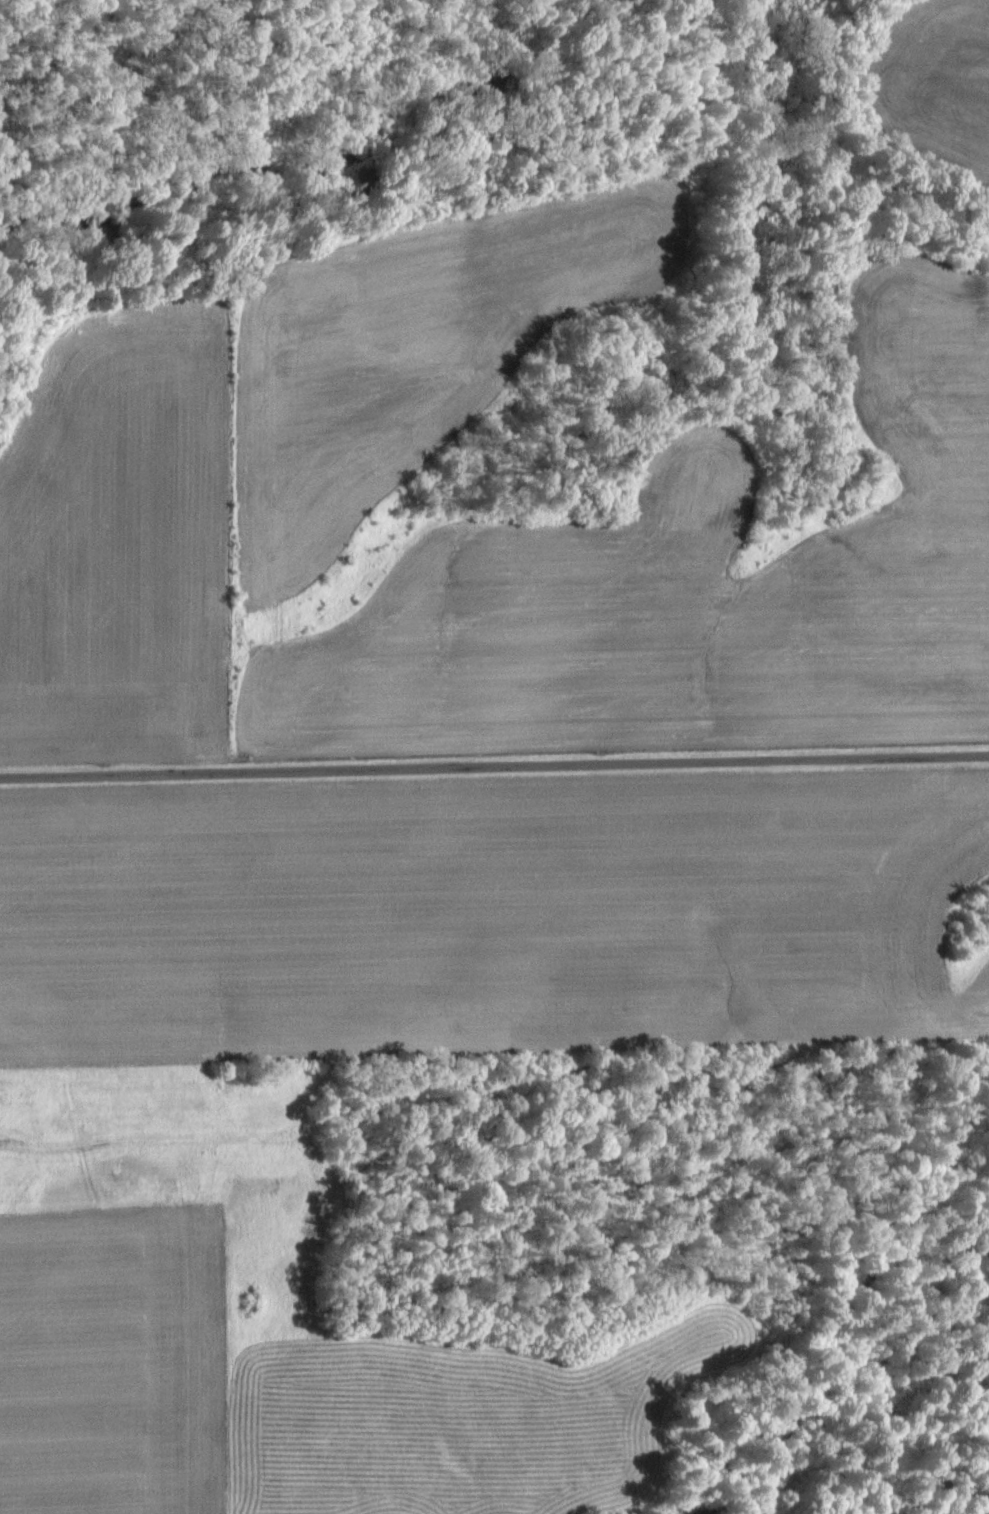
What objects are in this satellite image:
road: (494, 766)

